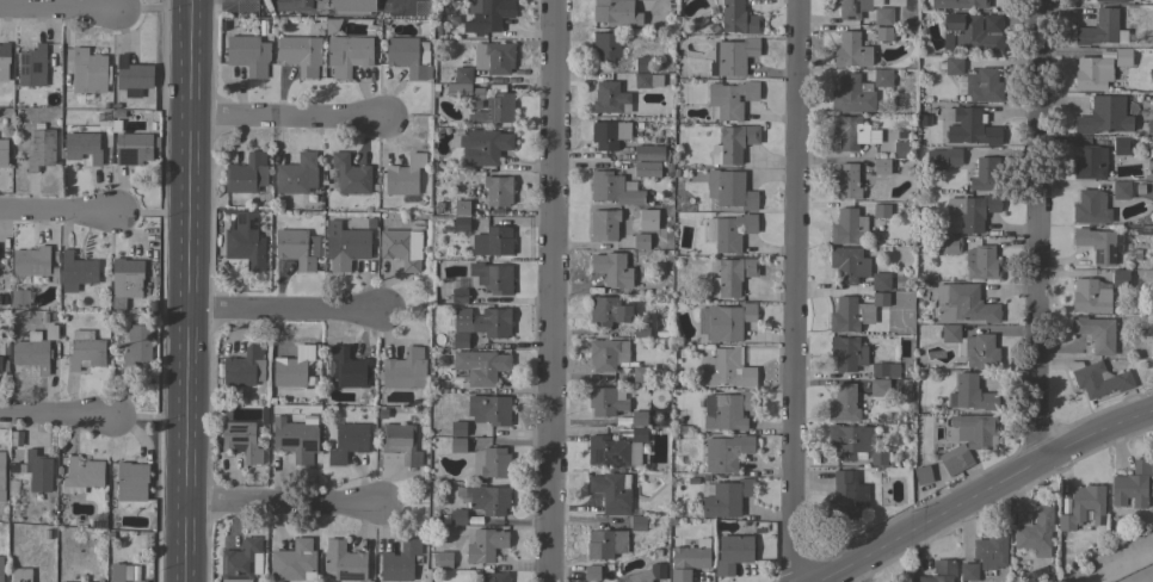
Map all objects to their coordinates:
building: (1112, 0)
building: (1135, 0)
building: (964, 4)
road: (209, 6)
building: (327, 6)
building: (852, 8)
building: (610, 10)
road: (57, 12)
building: (486, 14)
building: (886, 17)
building: (738, 18)
building: (332, 25)
building: (1102, 29)
building: (972, 32)
building: (883, 33)
building: (605, 45)
building: (849, 49)
building: (248, 54)
building: (300, 54)
building: (347, 54)
building: (732, 55)
building: (408, 56)
building: (499, 57)
building: (1122, 57)
building: (4, 60)
building: (642, 64)
building: (32, 66)
building: (951, 66)
building: (88, 72)
building: (463, 73)
building: (1092, 74)
building: (132, 76)
building: (882, 79)
building: (646, 80)
building: (982, 85)
building: (463, 92)
building: (851, 94)
building: (610, 98)
building: (730, 98)
building: (495, 110)
building: (1098, 117)
road: (284, 119)
building: (924, 122)
building: (969, 126)
building: (1149, 128)
building: (849, 131)
building: (609, 134)
building: (733, 143)
building: (87, 144)
building: (1121, 145)
building: (483, 147)
building: (41, 148)
building: (132, 148)
building: (900, 149)
building: (2, 153)
building: (651, 153)
building: (943, 159)
building: (1090, 162)
building: (881, 167)
building: (646, 168)
building: (246, 174)
building: (296, 174)
building: (350, 174)
building: (985, 174)
building: (405, 175)
building: (845, 182)
building: (615, 188)
building: (729, 190)
building: (1121, 190)
building: (497, 191)
building: (461, 208)
building: (1090, 208)
building: (881, 210)
road: (57, 212)
building: (969, 212)
building: (647, 219)
building: (461, 224)
building: (604, 224)
building: (847, 225)
building: (729, 231)
road: (1036, 231)
building: (245, 240)
building: (492, 241)
building: (641, 241)
building: (402, 244)
building: (950, 244)
building: (1097, 244)
building: (345, 246)
building: (297, 248)
building: (31, 261)
building: (981, 262)
building: (847, 265)
building: (612, 268)
building: (76, 271)
building: (732, 275)
building: (127, 277)
building: (492, 277)
building: (1120, 278)
building: (880, 281)
road: (555, 290)
road: (186, 291)
road: (796, 291)
building: (458, 293)
building: (1090, 296)
building: (19, 298)
building: (963, 303)
building: (606, 310)
building: (855, 311)
road: (280, 316)
building: (723, 321)
building: (482, 322)
building: (641, 329)
building: (50, 332)
building: (1095, 333)
building: (460, 340)
building: (137, 345)
building: (972, 347)
building: (85, 351)
building: (32, 352)
building: (606, 353)
building: (847, 353)
building: (0, 361)
building: (481, 366)
building: (296, 367)
building: (242, 369)
building: (346, 369)
building: (728, 369)
building: (405, 370)
building: (884, 370)
building: (640, 373)
building: (1097, 379)
building: (878, 388)
building: (970, 394)
building: (605, 402)
building: (843, 403)
building: (488, 409)
building: (729, 411)
road: (54, 415)
building: (639, 419)
building: (457, 428)
building: (976, 429)
building: (295, 439)
building: (241, 440)
building: (347, 441)
building: (400, 442)
building: (855, 442)
building: (457, 445)
building: (615, 448)
building: (726, 452)
building: (955, 459)
building: (491, 463)
building: (12, 471)
building: (38, 471)
building: (921, 471)
building: (84, 473)
building: (1, 476)
building: (131, 481)
building: (1132, 484)
building: (611, 493)
road: (974, 493)
building: (846, 495)
building: (727, 497)
building: (487, 499)
building: (1083, 507)
road: (279, 509)
building: (457, 516)
building: (636, 522)
building: (1034, 531)
building: (605, 544)
building: (483, 545)
building: (991, 551)
building: (732, 553)
building: (444, 559)
building: (689, 559)
building: (240, 561)
building: (294, 562)
building: (343, 562)
building: (400, 562)
road: (1121, 565)
building: (1, 569)
building: (939, 571)
building: (968, 571)
building: (119, 572)
building: (591, 572)
building: (20, 574)
building: (648, 574)
building: (492, 577)

